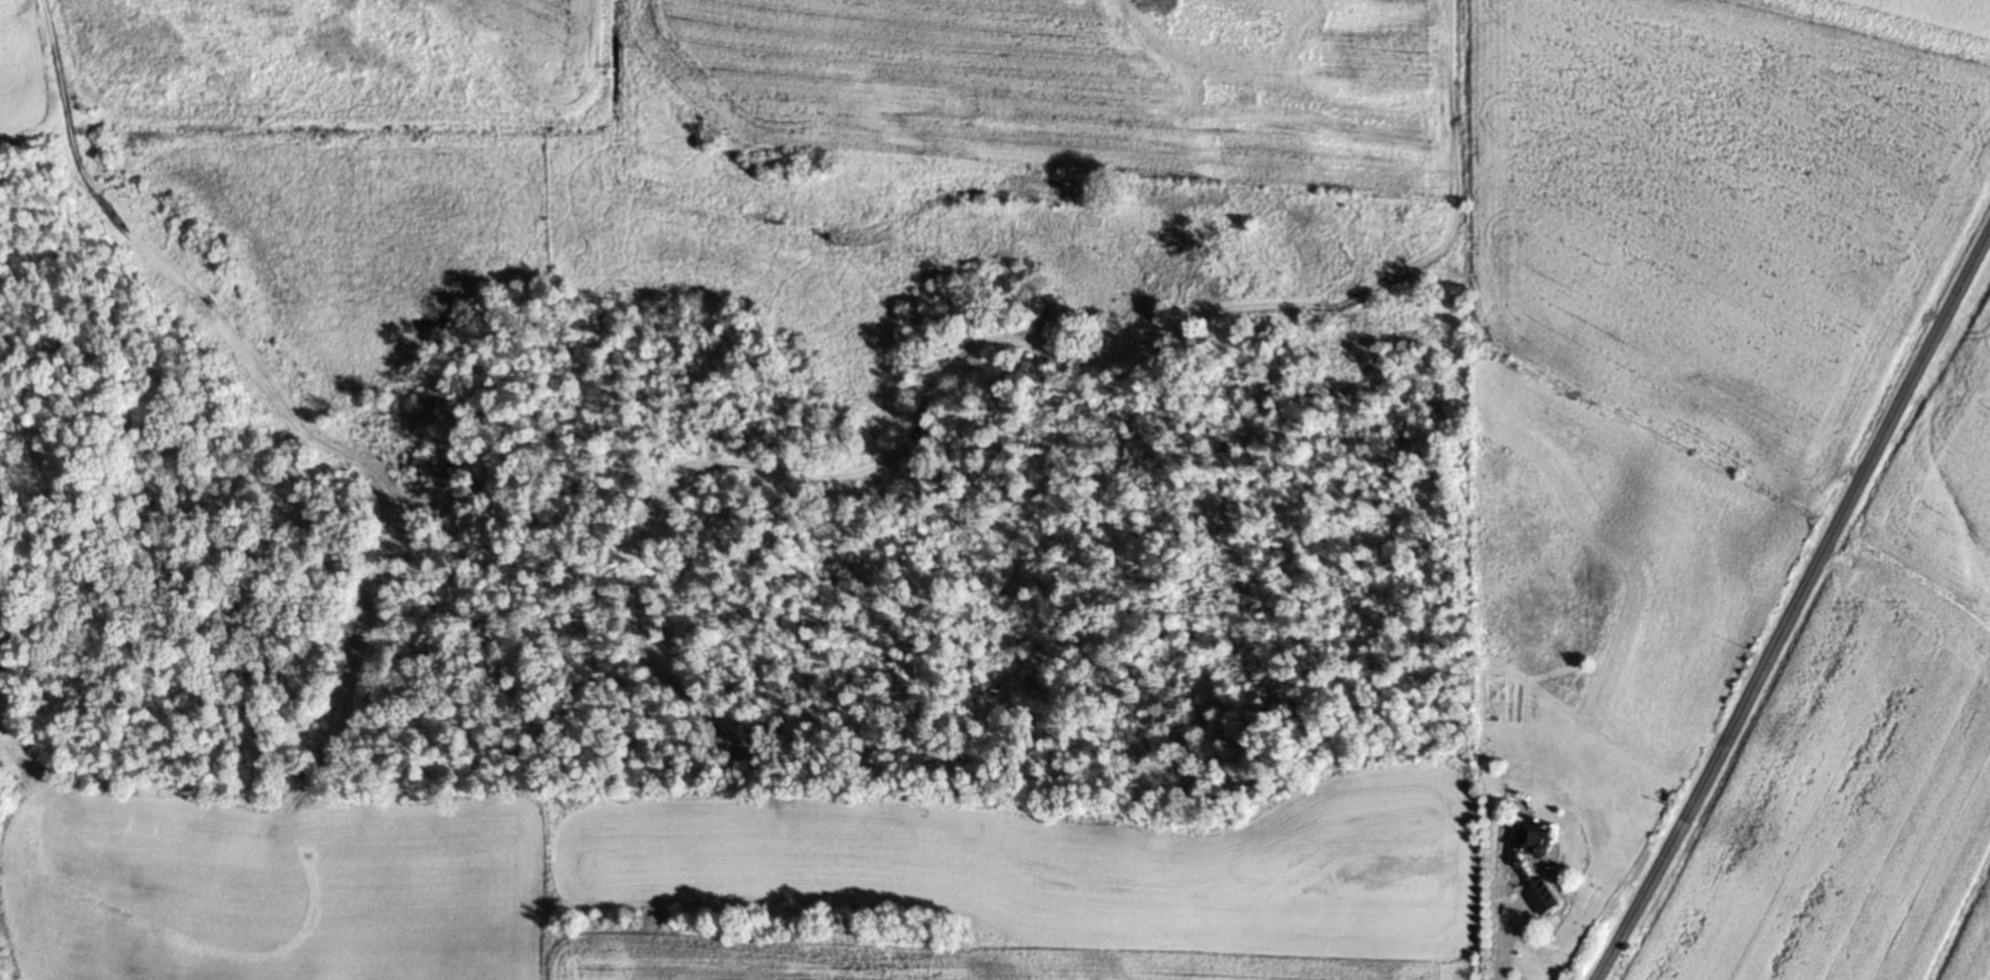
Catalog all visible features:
road: (1793, 605)
building: (1518, 865)
road: (1507, 946)

